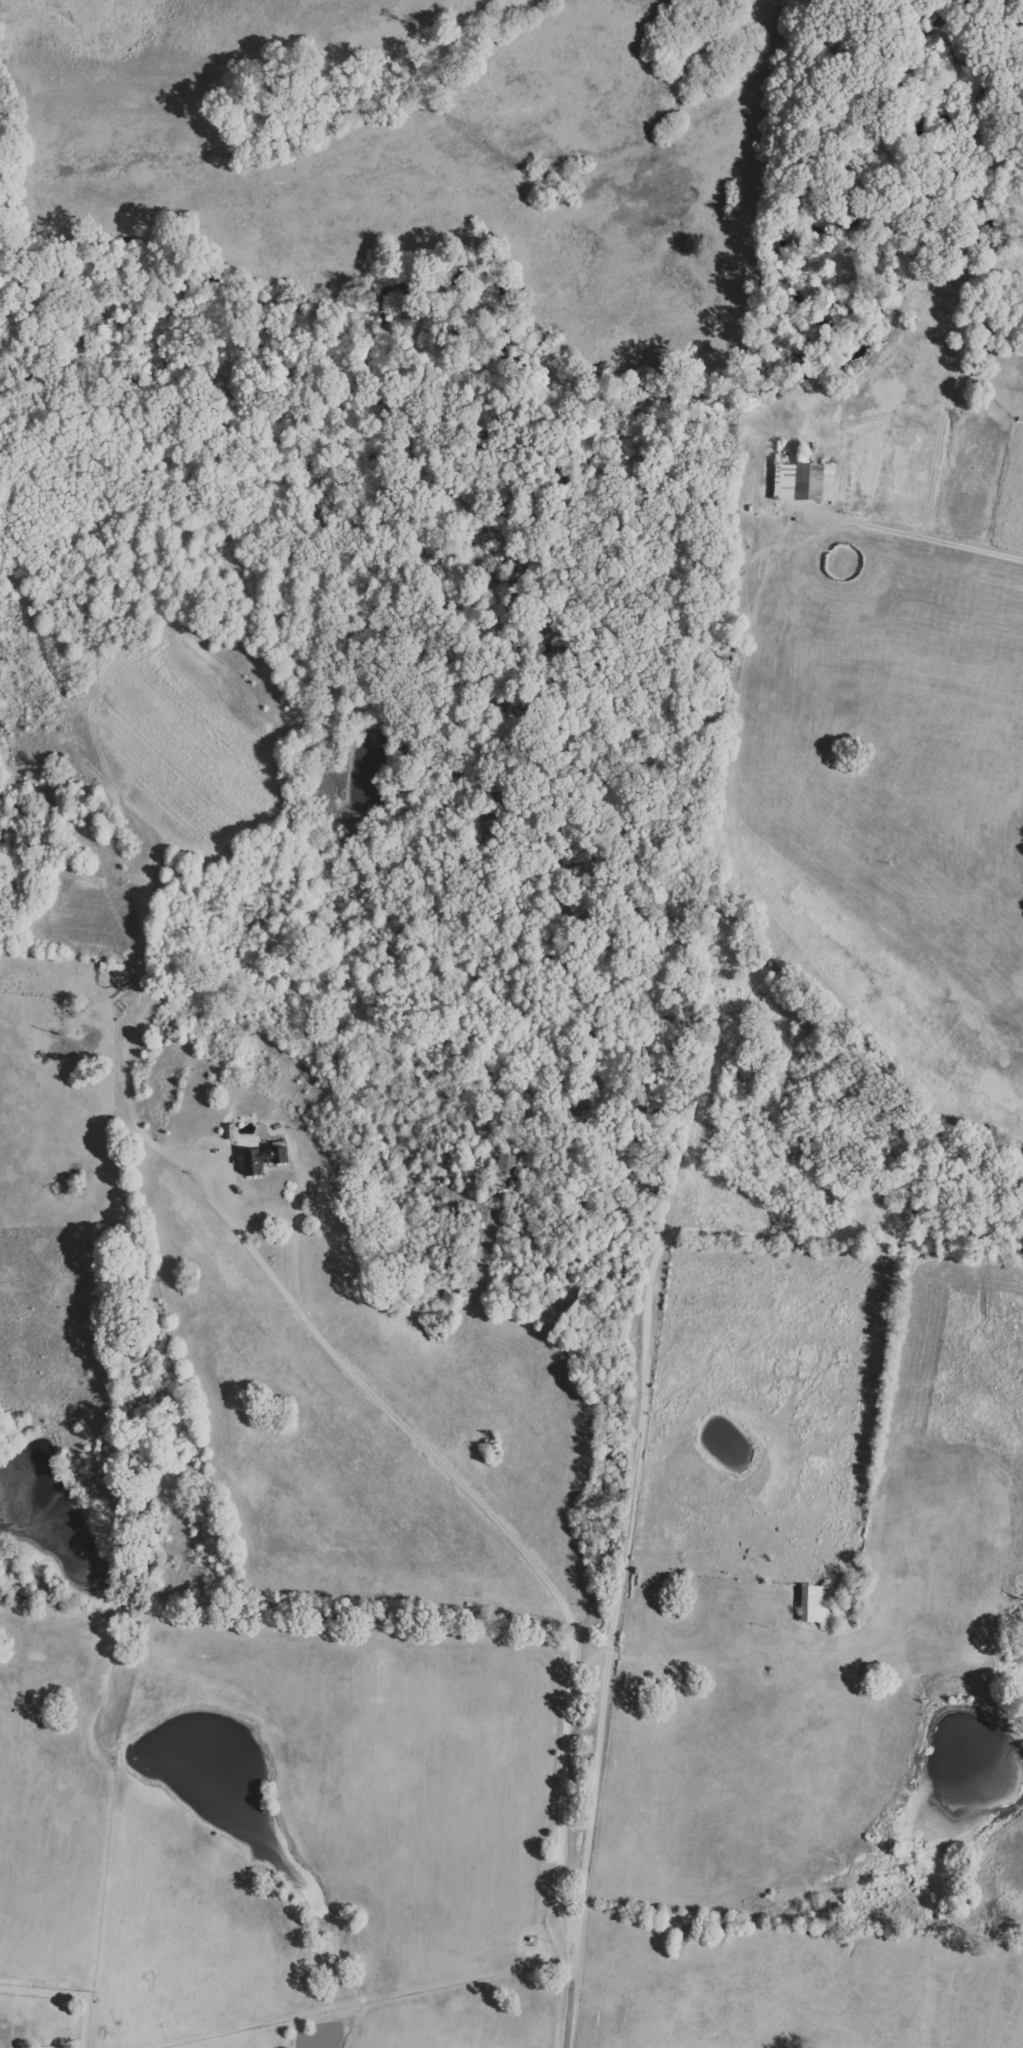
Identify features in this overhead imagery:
building: (805, 480)
road: (940, 538)
road: (303, 1310)
road: (638, 1414)
building: (816, 1604)
road: (563, 1820)

